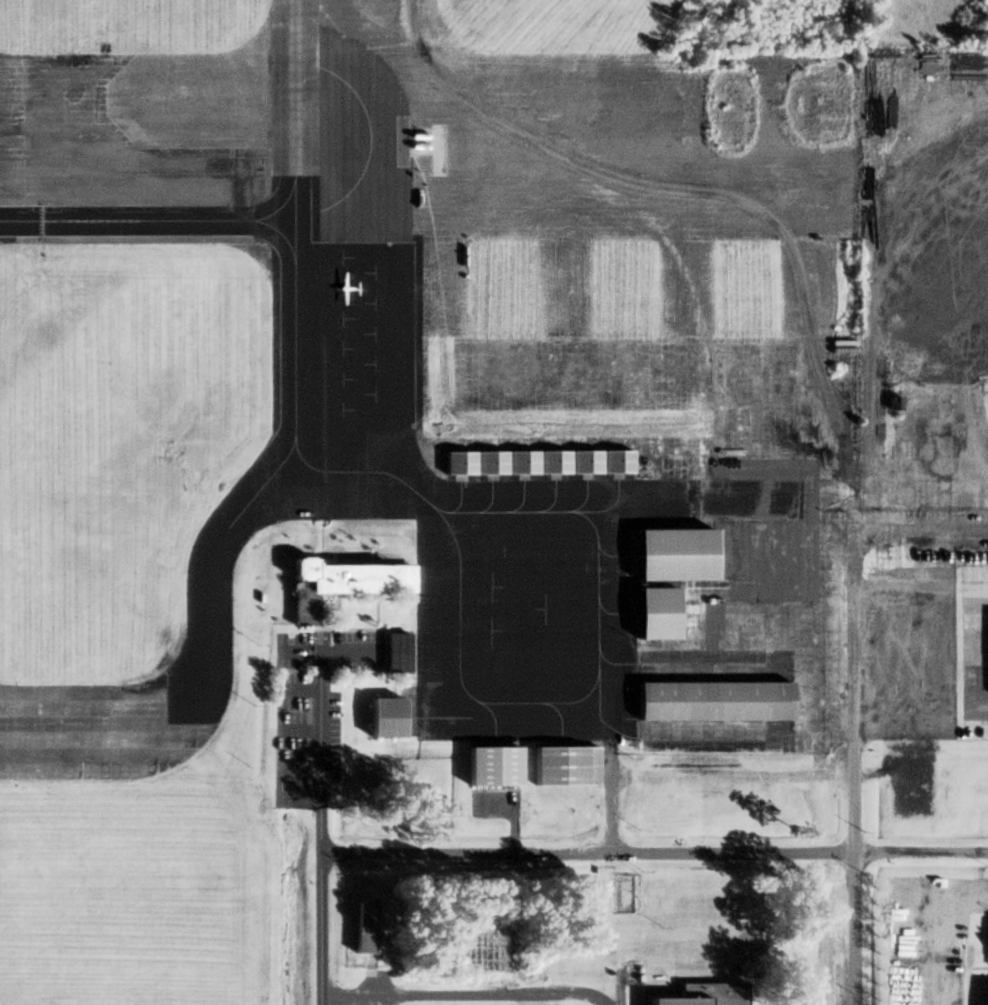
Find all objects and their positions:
airport taxiway: (295, 110)
airport taxiway: (147, 220)
building: (893, 403)
airport: (409, 450)
airport hangar: (583, 461)
building: (583, 461)
airport hangar: (614, 461)
building: (614, 461)
airport hangar: (458, 462)
building: (458, 462)
airport hangar: (489, 462)
building: (489, 462)
airport hangar: (520, 462)
building: (520, 462)
airport hangar: (552, 462)
building: (552, 462)
airport taxiway: (461, 497)
airport taxiway: (555, 499)
airport taxiway: (587, 499)
airport taxiway: (619, 499)
airport taxiway: (492, 500)
airport taxiway: (523, 500)
airport taxiway: (659, 510)
airport apron: (452, 518)
road: (919, 528)
airport taxiway: (216, 550)
airport hangar: (673, 555)
building: (673, 555)
airport terminal: (338, 584)
building: (338, 584)
airport hangar: (654, 612)
building: (654, 612)
airport taxiway: (598, 613)
road: (329, 651)
building: (402, 651)
road: (969, 655)
road: (851, 690)
road: (303, 691)
airport hangar: (712, 701)
building: (712, 701)
parking lot: (315, 708)
airport hangar: (388, 718)
building: (388, 718)
road: (302, 744)
airport hangar: (489, 767)
building: (489, 767)
airport hangar: (563, 767)
building: (563, 767)
road: (302, 798)
road: (610, 800)
road: (513, 826)
road: (322, 827)
road: (586, 851)
road: (919, 852)
building: (368, 928)
road: (851, 928)
road: (925, 983)
road: (466, 994)
building: (702, 994)
road: (794, 995)
road: (528, 999)
road: (365, 1000)

